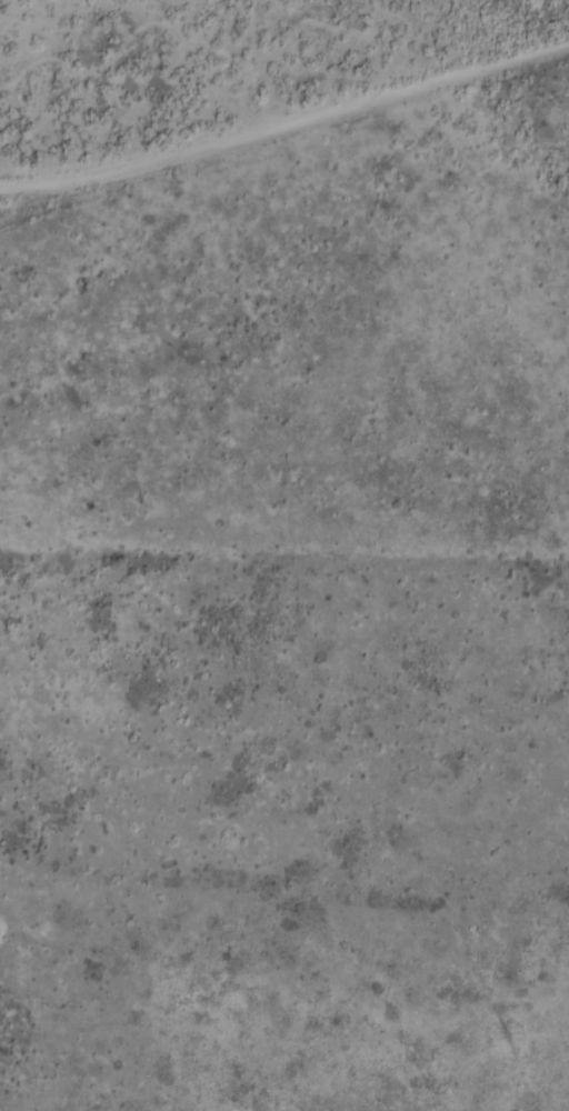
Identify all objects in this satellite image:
road: (120, 69)
road: (281, 93)

